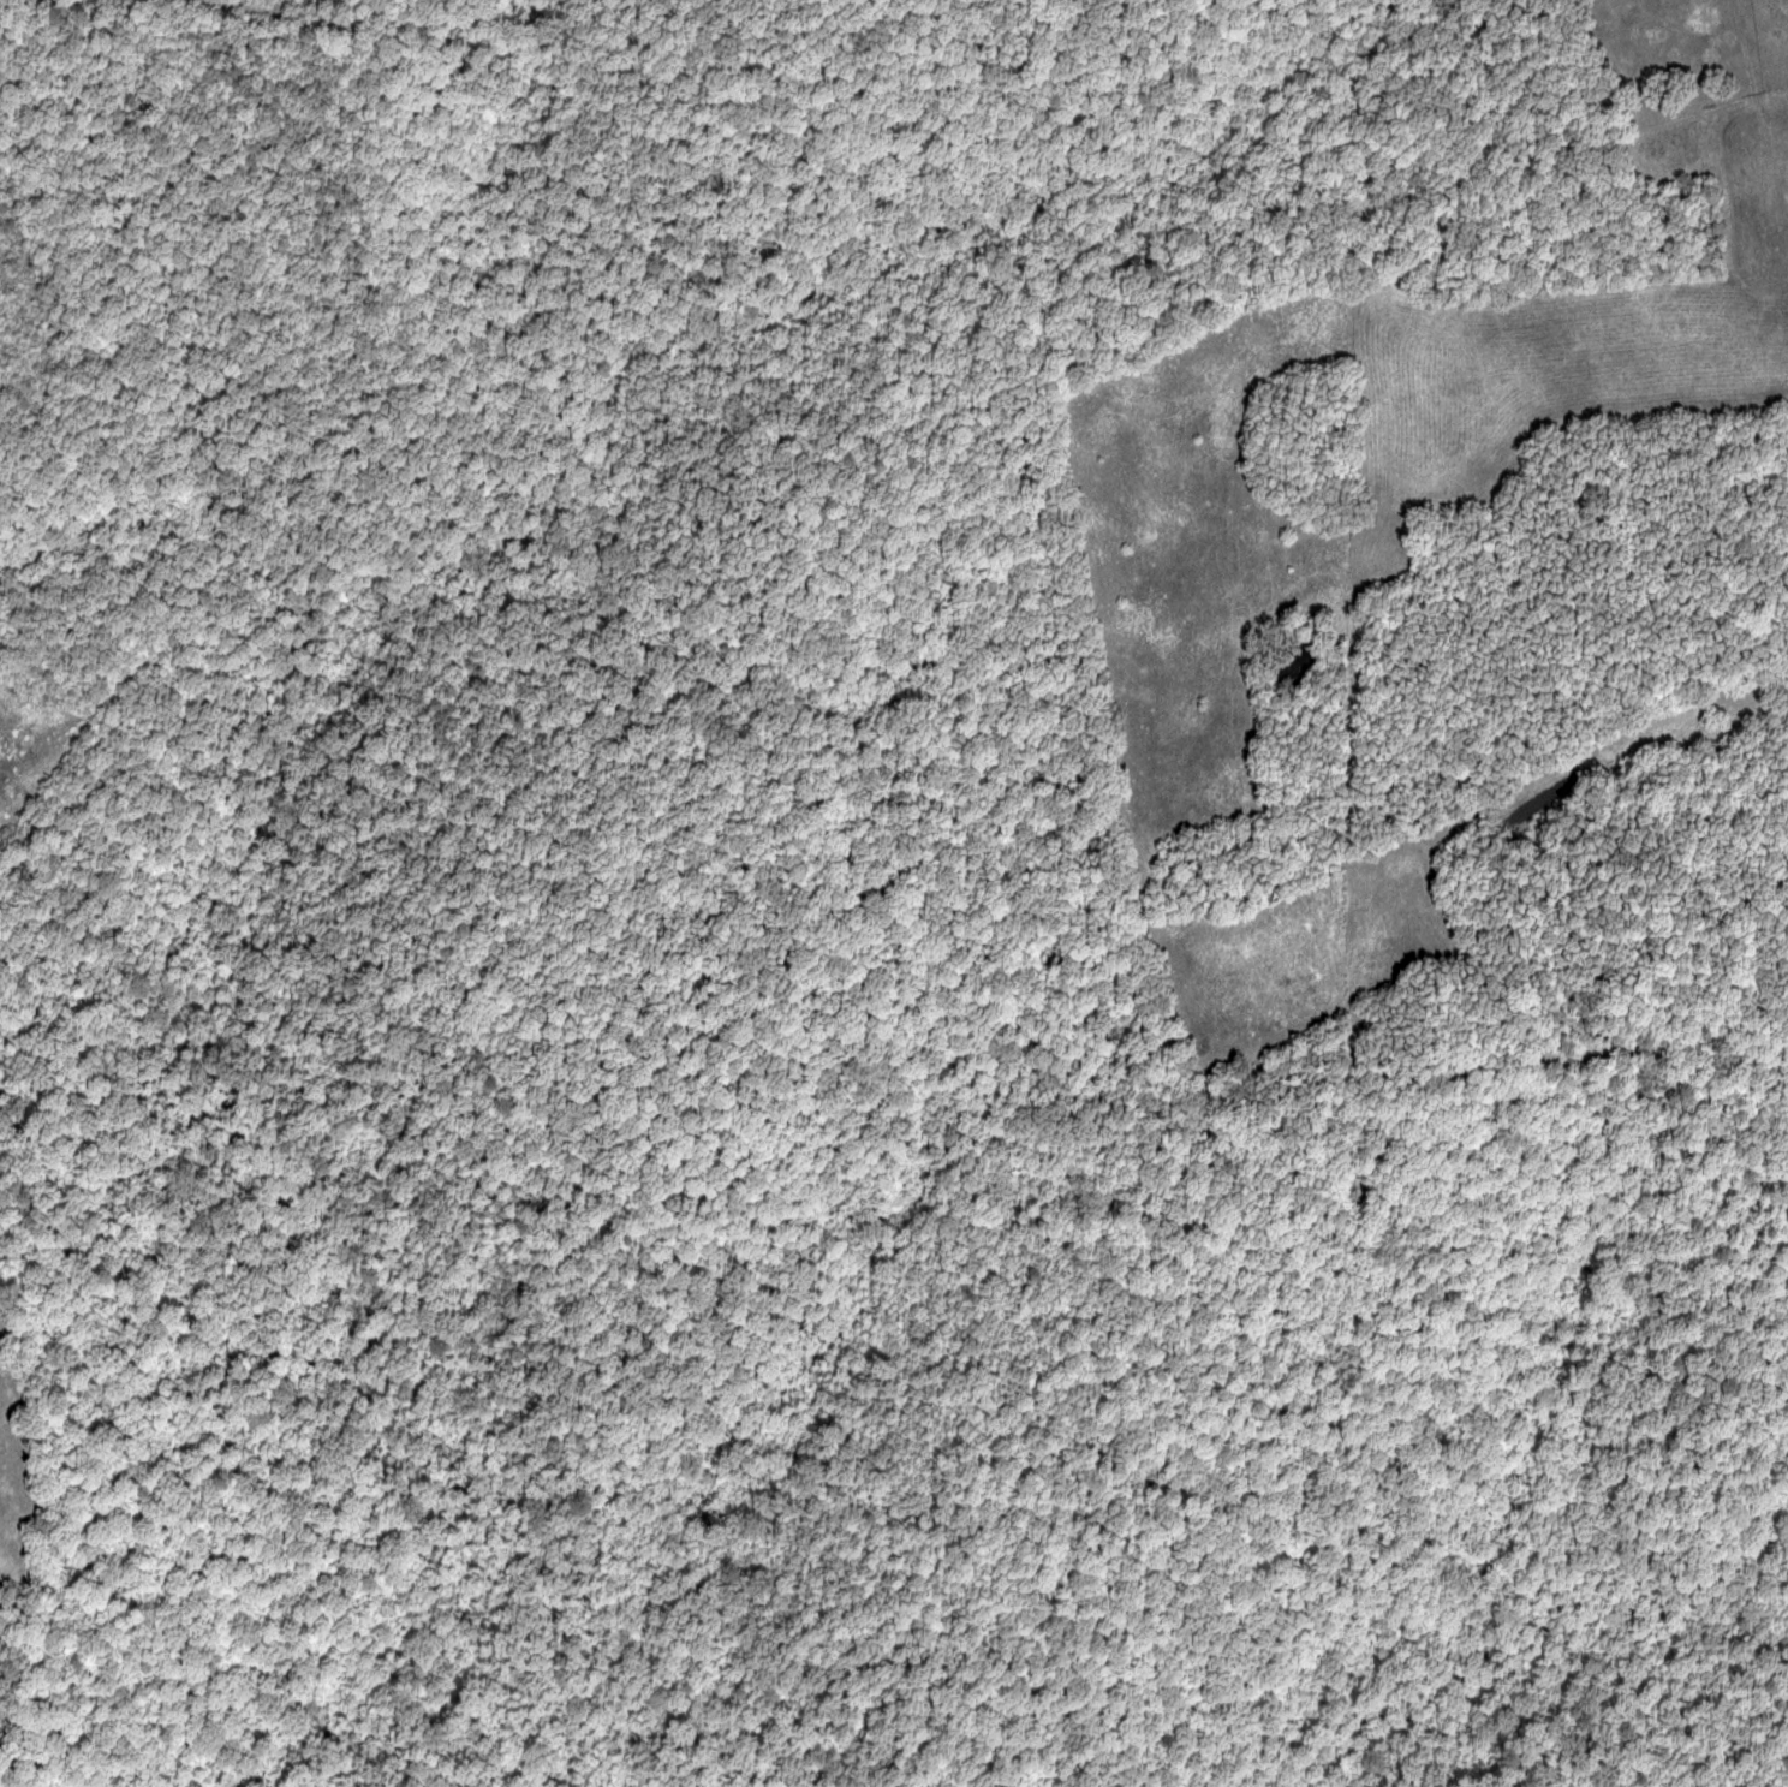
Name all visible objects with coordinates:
road: (58, 314)

